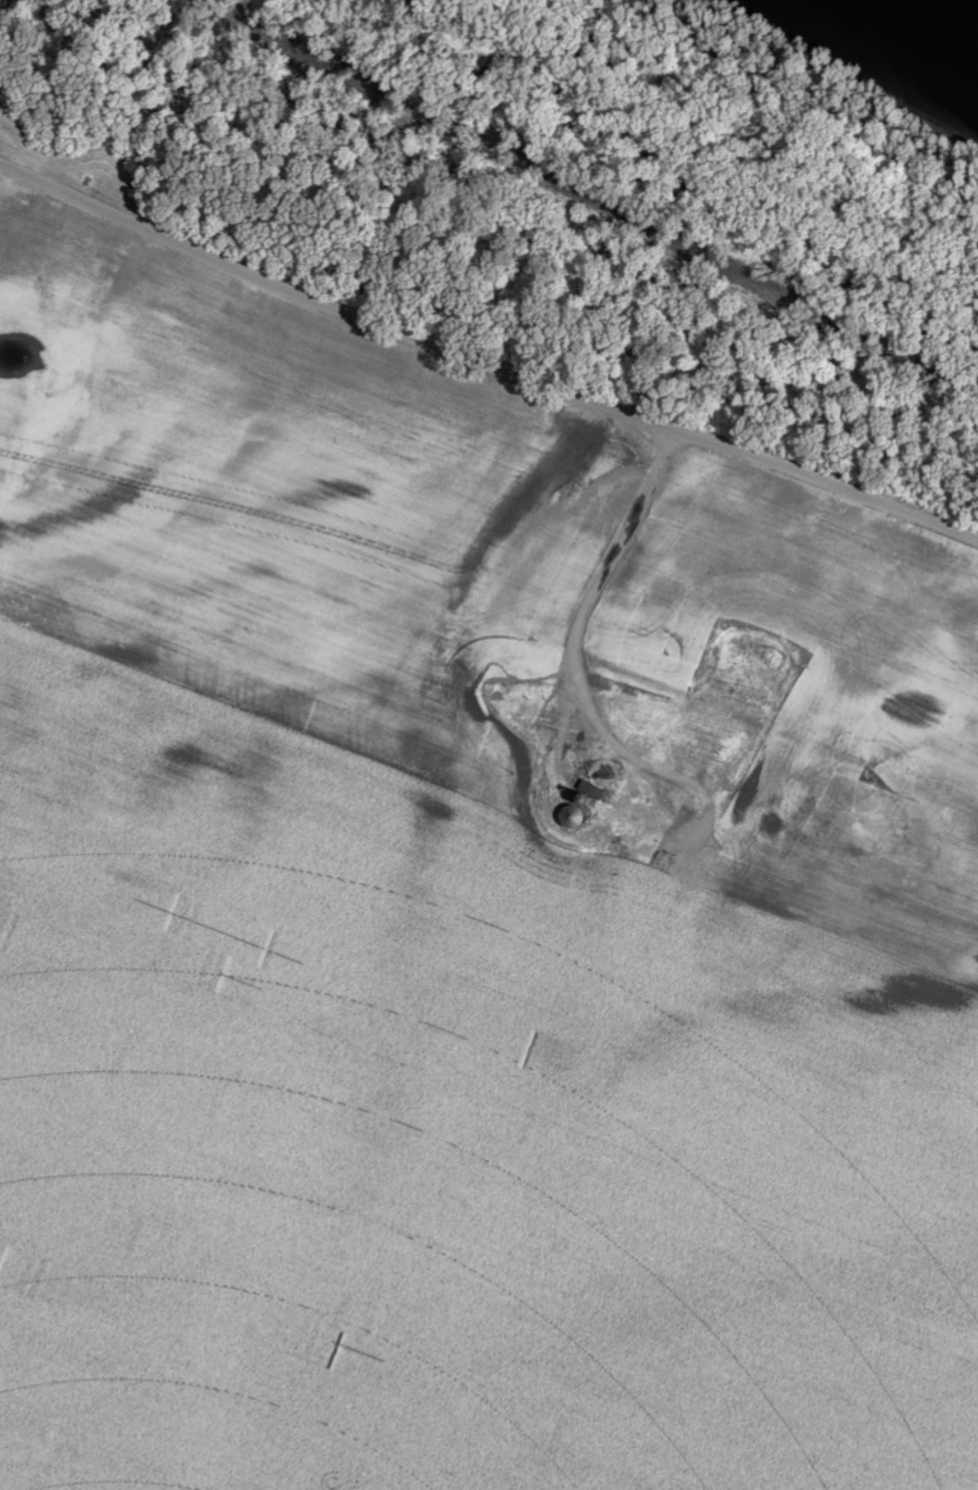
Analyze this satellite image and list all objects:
road: (482, 369)
road: (561, 725)

